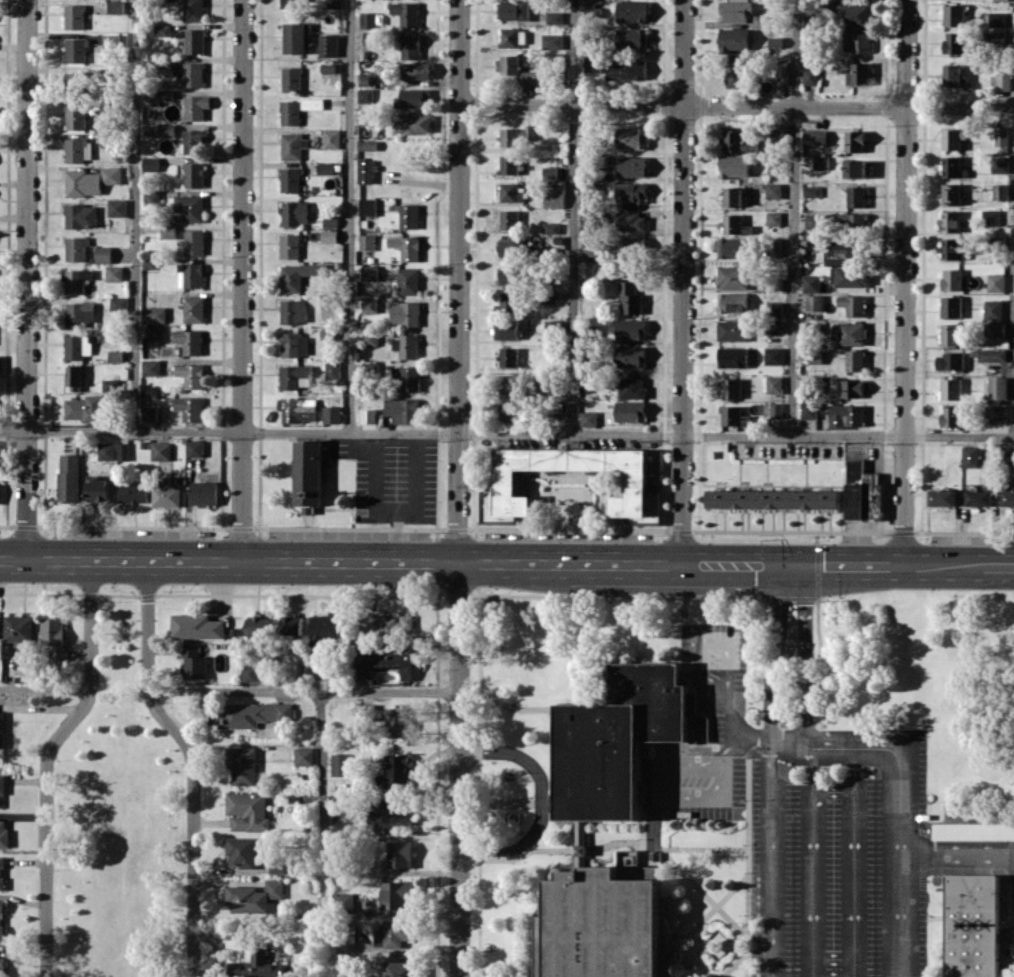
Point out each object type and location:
building: (292, 4)
building: (334, 4)
building: (117, 6)
building: (514, 9)
building: (193, 10)
building: (633, 10)
building: (735, 10)
building: (406, 13)
building: (852, 14)
building: (954, 15)
building: (75, 16)
building: (555, 17)
building: (368, 19)
building: (996, 19)
building: (761, 21)
building: (163, 30)
building: (296, 37)
building: (513, 37)
building: (633, 38)
building: (995, 38)
building: (735, 39)
building: (111, 40)
building: (195, 41)
building: (552, 41)
building: (857, 41)
building: (954, 42)
building: (329, 45)
building: (411, 46)
building: (77, 50)
building: (510, 64)
building: (593, 64)
building: (416, 70)
building: (626, 70)
building: (736, 72)
building: (783, 72)
building: (190, 73)
building: (859, 74)
building: (810, 76)
building: (954, 76)
building: (530, 78)
building: (292, 79)
building: (366, 79)
building: (1003, 81)
building: (76, 83)
building: (366, 95)
building: (158, 97)
building: (414, 97)
building: (313, 103)
building: (196, 106)
road: (736, 107)
building: (290, 112)
building: (77, 117)
building: (412, 123)
building: (779, 132)
building: (1001, 135)
building: (518, 136)
building: (632, 137)
building: (815, 137)
building: (331, 138)
building: (953, 138)
building: (734, 140)
building: (855, 140)
building: (194, 141)
building: (294, 146)
building: (78, 149)
building: (821, 162)
building: (151, 164)
building: (510, 164)
building: (777, 164)
building: (734, 165)
building: (632, 166)
building: (953, 167)
building: (326, 168)
building: (854, 168)
building: (366, 170)
building: (550, 172)
building: (194, 174)
building: (291, 179)
building: (91, 180)
building: (774, 190)
building: (812, 190)
building: (1000, 191)
building: (511, 192)
building: (950, 193)
building: (632, 194)
building: (732, 196)
building: (856, 196)
building: (554, 197)
building: (152, 198)
building: (368, 206)
building: (117, 207)
building: (190, 207)
building: (295, 212)
building: (81, 215)
road: (135, 215)
road: (349, 216)
building: (409, 216)
road: (573, 216)
building: (990, 217)
building: (774, 218)
road: (794, 218)
building: (510, 219)
building: (587, 219)
building: (330, 221)
building: (631, 221)
building: (814, 221)
building: (852, 221)
building: (950, 221)
building: (732, 223)
building: (551, 227)
building: (330, 235)
building: (194, 241)
building: (367, 241)
building: (290, 245)
building: (593, 246)
building: (406, 247)
building: (508, 247)
building: (631, 247)
building: (733, 247)
building: (76, 248)
building: (952, 249)
building: (843, 251)
building: (103, 254)
building: (150, 263)
building: (370, 272)
building: (114, 273)
building: (510, 274)
building: (190, 275)
building: (300, 275)
building: (852, 276)
building: (733, 277)
road: (29, 278)
road: (243, 279)
building: (952, 279)
building: (77, 280)
building: (409, 280)
road: (458, 280)
road: (682, 282)
road: (905, 282)
building: (996, 282)
building: (811, 283)
building: (548, 296)
building: (630, 297)
building: (507, 302)
building: (732, 302)
building: (814, 302)
building: (119, 303)
building: (370, 304)
building: (852, 304)
building: (951, 306)
building: (194, 308)
building: (993, 309)
building: (294, 311)
building: (405, 313)
building: (154, 314)
building: (775, 326)
building: (996, 328)
building: (506, 329)
building: (553, 329)
building: (631, 329)
building: (154, 330)
building: (733, 330)
building: (851, 332)
building: (950, 334)
building: (190, 341)
building: (294, 344)
building: (406, 345)
building: (77, 346)
building: (992, 354)
building: (116, 355)
building: (774, 355)
building: (509, 356)
building: (631, 356)
building: (815, 356)
building: (733, 357)
building: (855, 360)
building: (950, 360)
building: (0, 361)
building: (151, 367)
building: (332, 370)
building: (191, 374)
building: (294, 376)
building: (75, 377)
building: (406, 378)
building: (775, 383)
building: (509, 384)
building: (113, 385)
building: (632, 387)
building: (731, 387)
building: (997, 387)
building: (852, 388)
building: (950, 388)
building: (86, 408)
building: (190, 408)
building: (298, 409)
building: (402, 409)
building: (776, 410)
building: (808, 410)
building: (508, 411)
building: (631, 411)
building: (149, 413)
building: (997, 413)
building: (332, 414)
building: (844, 415)
building: (735, 416)
building: (951, 416)
building: (589, 418)
road: (506, 433)
road: (417, 437)
road: (357, 441)
road: (417, 444)
building: (196, 448)
building: (107, 450)
building: (161, 450)
building: (124, 451)
building: (1008, 455)
building: (970, 456)
building: (309, 473)
building: (70, 477)
building: (505, 480)
building: (99, 490)
building: (167, 491)
building: (862, 491)
building: (134, 492)
building: (205, 492)
building: (0, 497)
building: (942, 497)
building: (979, 497)
building: (773, 498)
building: (1008, 499)
road: (228, 558)
road: (735, 565)
traffic signals: (779, 566)
traffic signals: (804, 566)
road: (817, 566)
road: (682, 621)
building: (388, 624)
building: (257, 625)
building: (292, 625)
building: (196, 626)
building: (20, 628)
building: (326, 630)
building: (54, 636)
road: (703, 642)
road: (775, 650)
road: (804, 655)
parking lot: (714, 659)
building: (385, 660)
building: (193, 662)
building: (250, 672)
road: (45, 688)
road: (304, 691)
road: (819, 695)
road: (506, 705)
building: (366, 711)
building: (252, 714)
road: (734, 719)
building: (398, 722)
parking lot: (714, 727)
building: (2, 729)
road: (743, 734)
building: (612, 740)
building: (304, 756)
road: (195, 759)
road: (47, 760)
building: (340, 763)
building: (242, 765)
road: (460, 768)
road: (812, 768)
road: (853, 769)
building: (399, 770)
road: (479, 781)
parking lot: (703, 785)
building: (2, 786)
road: (832, 789)
road: (652, 795)
road: (540, 800)
road: (899, 800)
road: (515, 802)
building: (247, 810)
building: (392, 815)
park: (118, 820)
building: (342, 821)
road: (653, 822)
road: (642, 828)
road: (322, 830)
building: (973, 830)
building: (4, 834)
road: (700, 848)
road: (567, 849)
building: (241, 851)
road: (956, 851)
building: (400, 854)
road: (769, 855)
building: (277, 865)
road: (747, 867)
parking lot: (841, 867)
building: (2, 872)
road: (812, 883)
road: (853, 883)
building: (397, 894)
building: (254, 896)
building: (345, 899)
road: (587, 899)
road: (715, 903)
road: (713, 907)
road: (934, 916)
building: (1, 919)
building: (602, 920)
building: (970, 925)
building: (393, 933)
road: (1005, 933)
road: (719, 942)
road: (745, 951)
road: (832, 958)
road: (694, 959)
building: (256, 966)
building: (1, 967)
building: (401, 969)
road: (832, 976)

